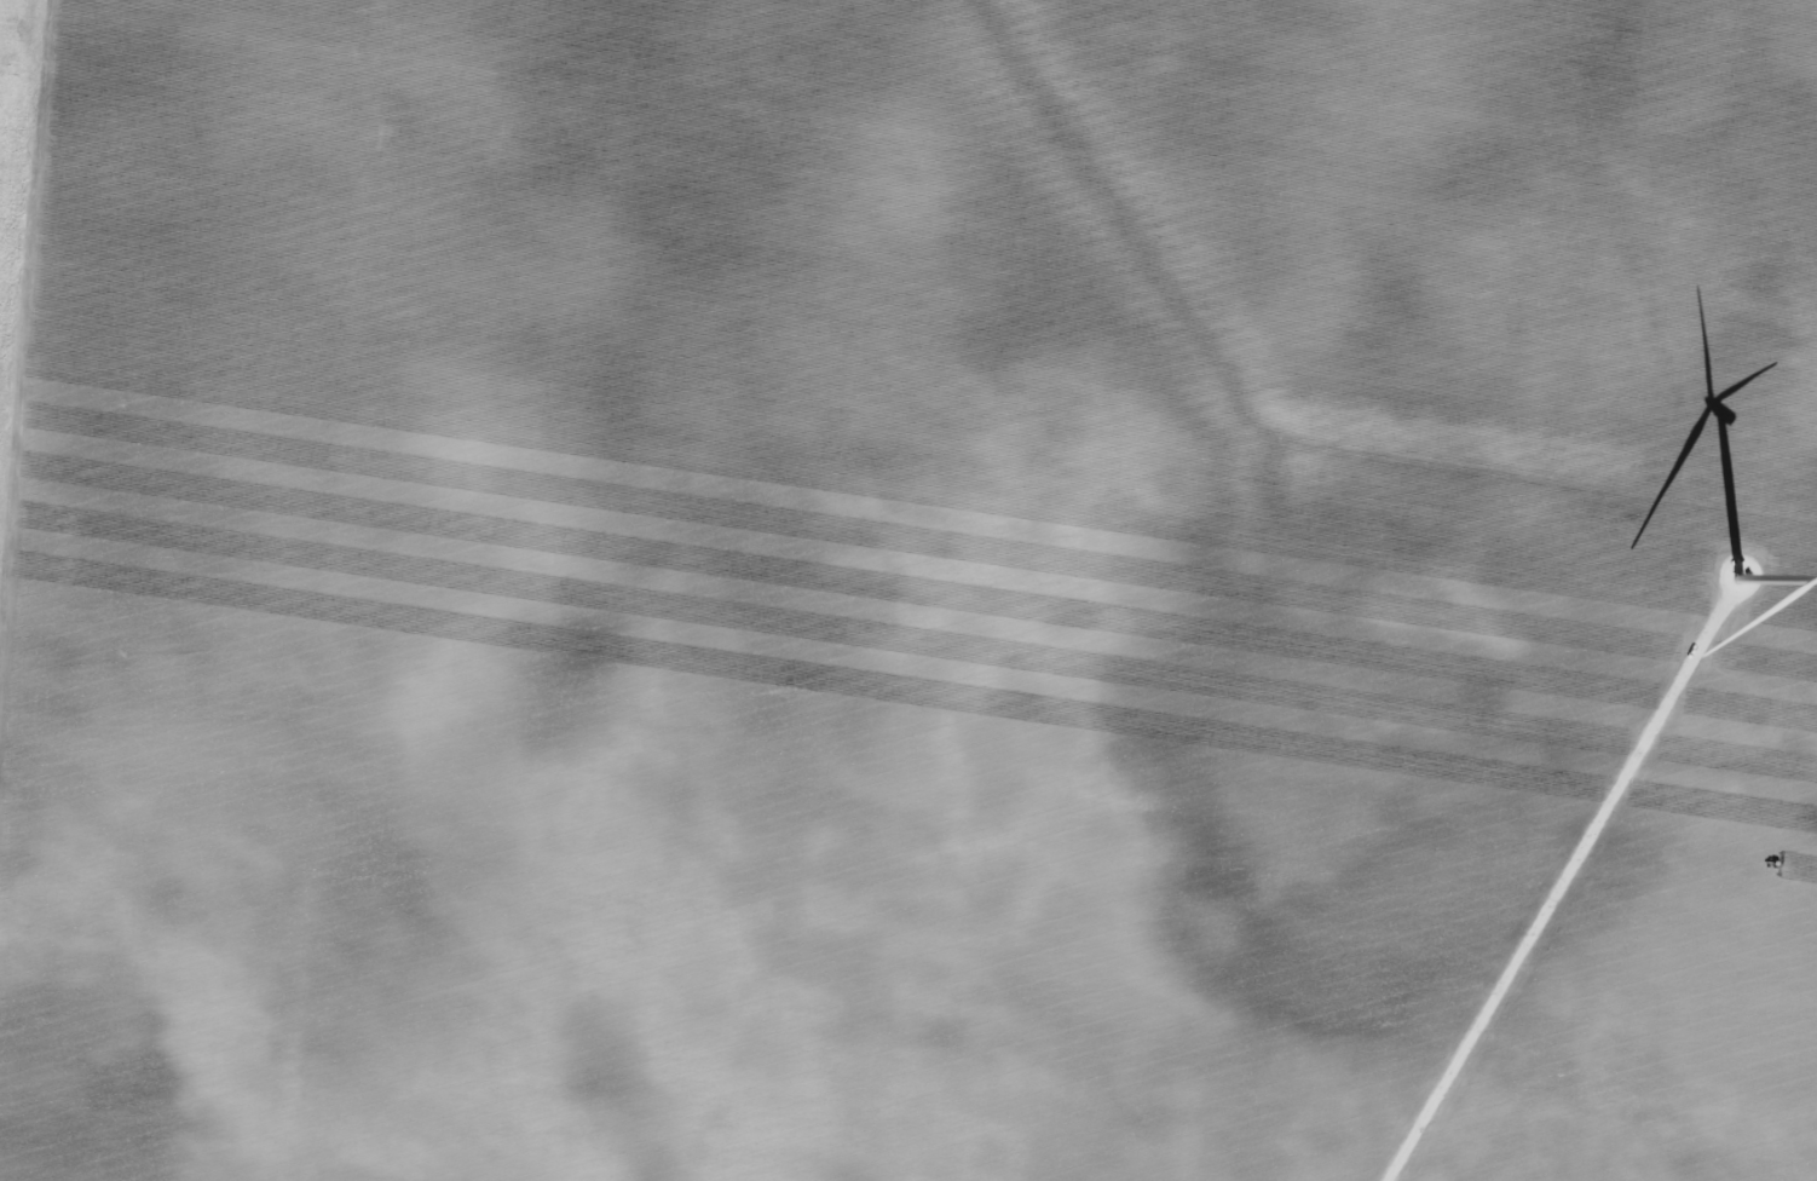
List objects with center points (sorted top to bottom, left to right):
wind turbine: (1737, 578)

